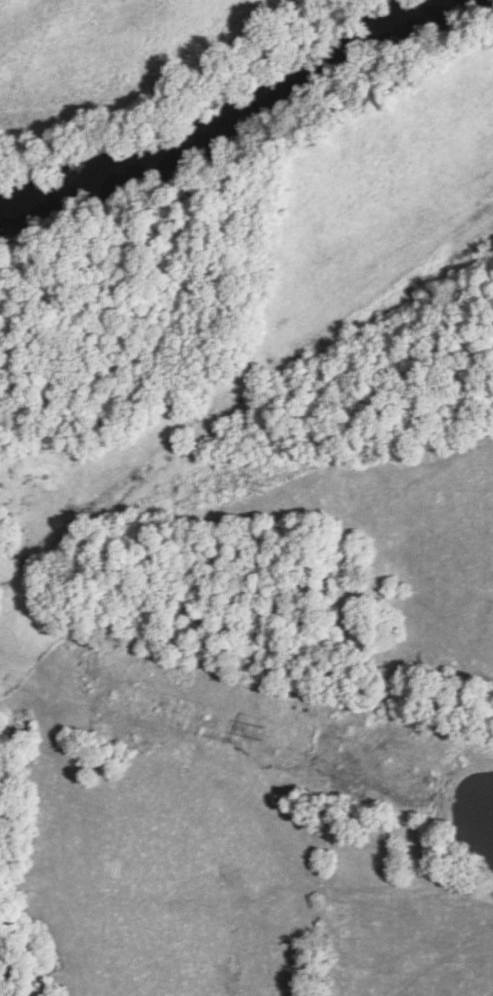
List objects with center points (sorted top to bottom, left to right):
river: (219, 110)
power tower: (269, 484)
power tower: (261, 733)

